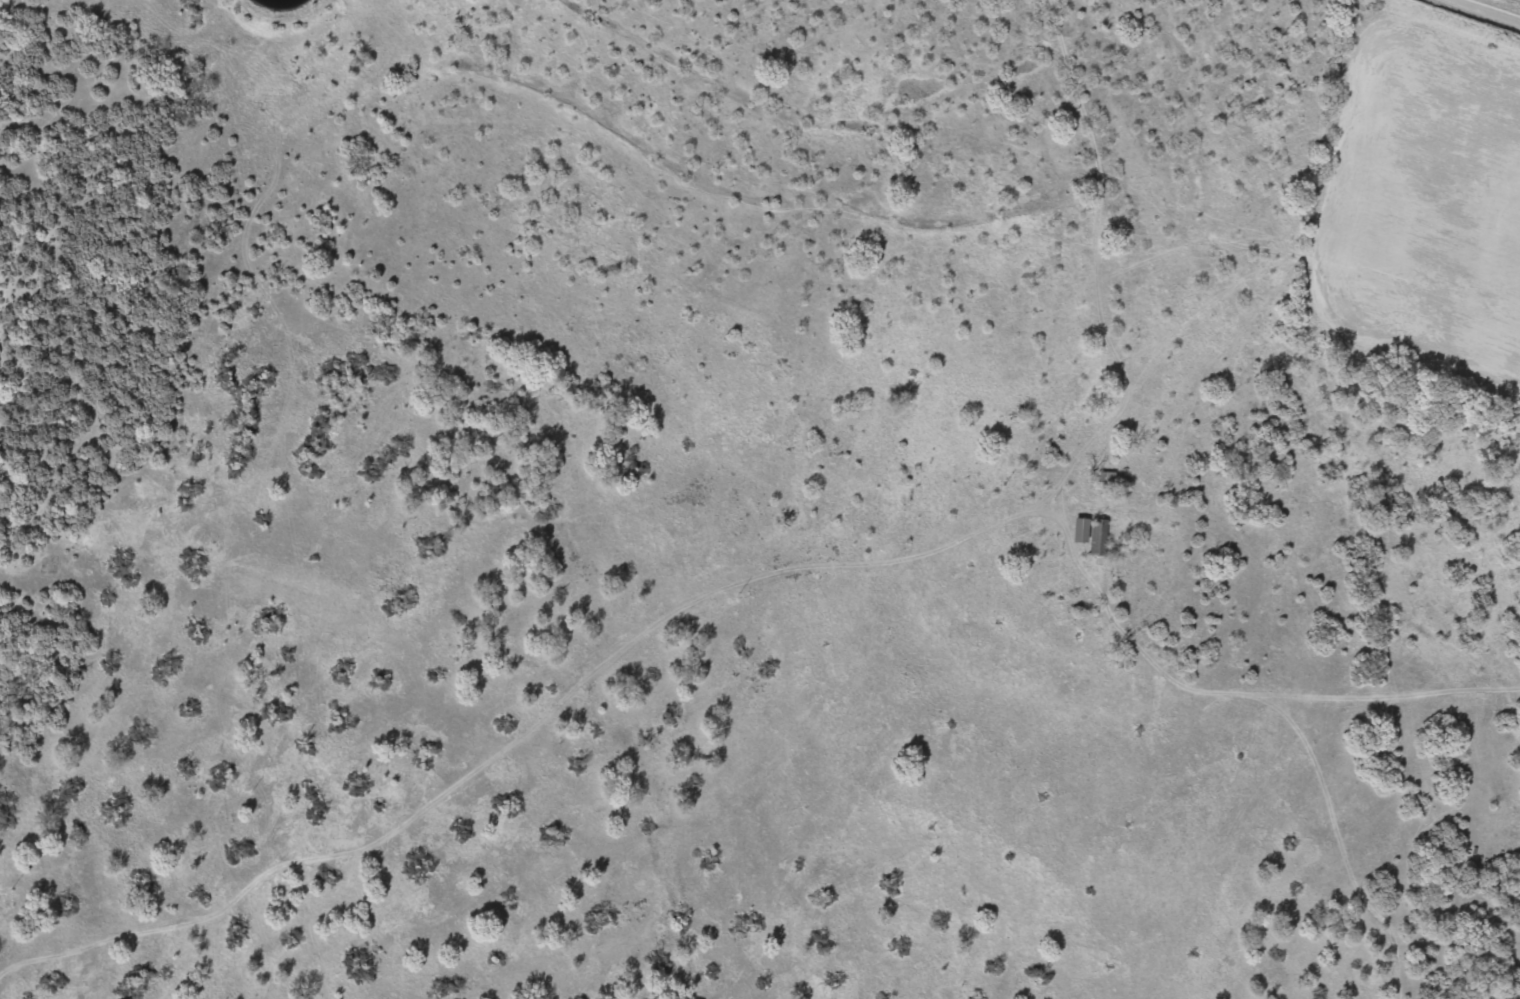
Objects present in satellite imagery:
road: (1490, 9)
building: (1082, 527)
building: (1099, 534)

